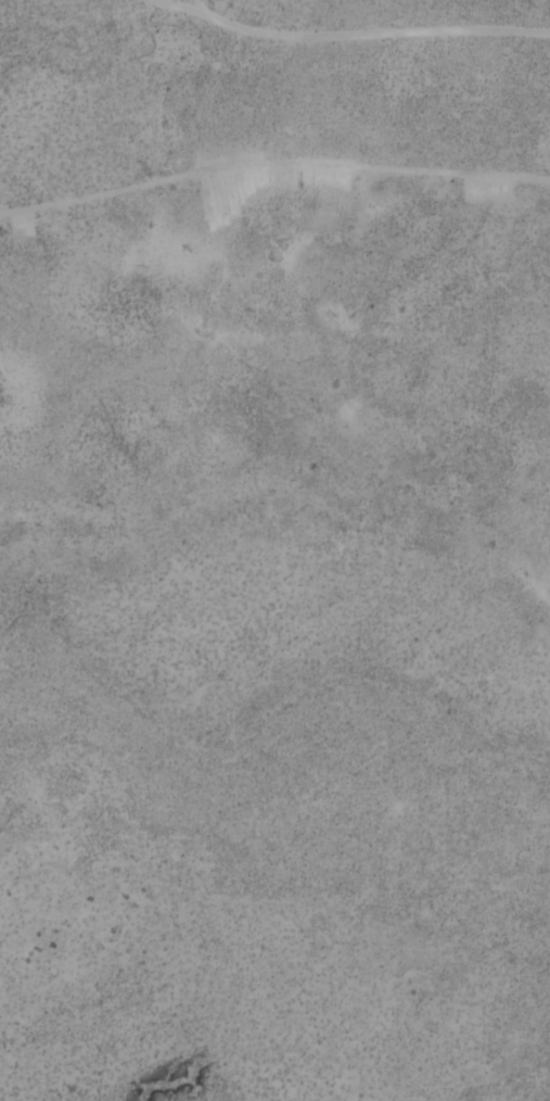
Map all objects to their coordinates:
road: (314, 58)

